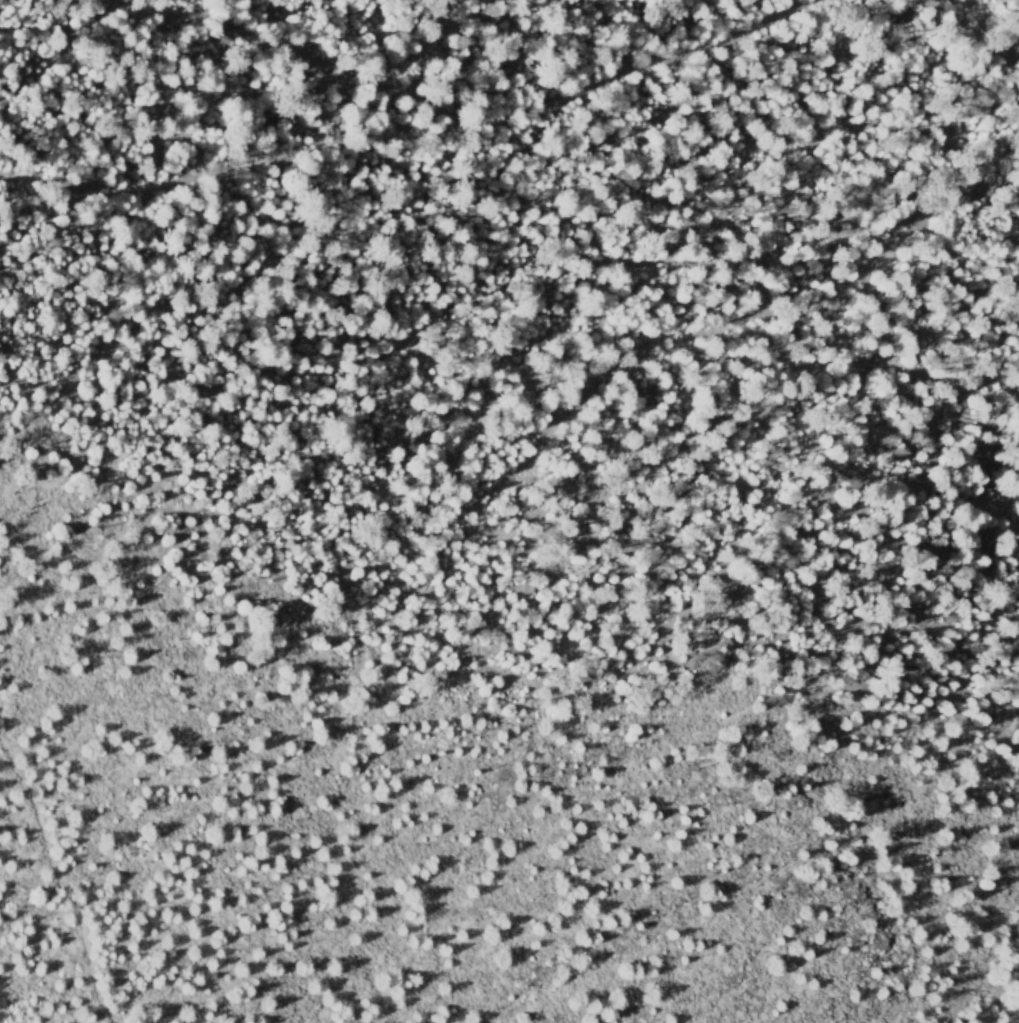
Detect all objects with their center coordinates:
road: (302, 48)
road: (418, 132)
road: (63, 885)

